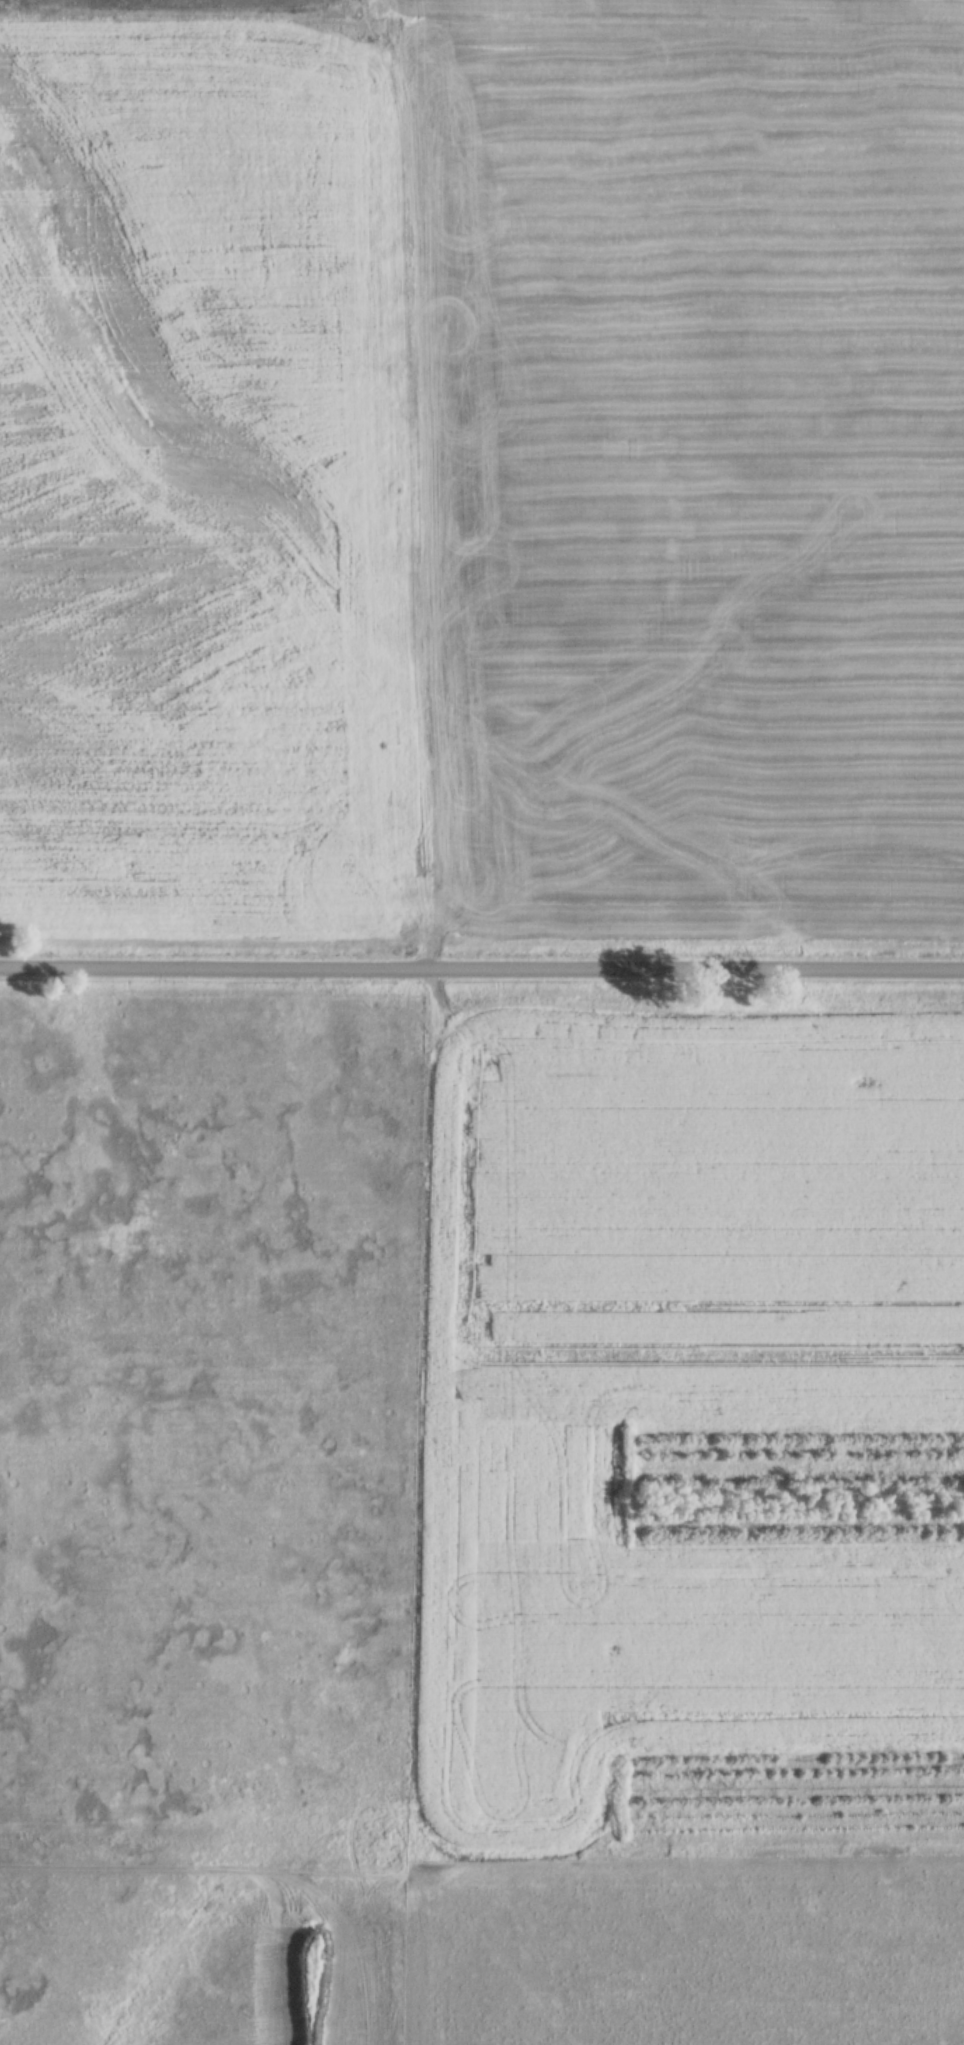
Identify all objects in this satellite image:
road: (482, 966)

